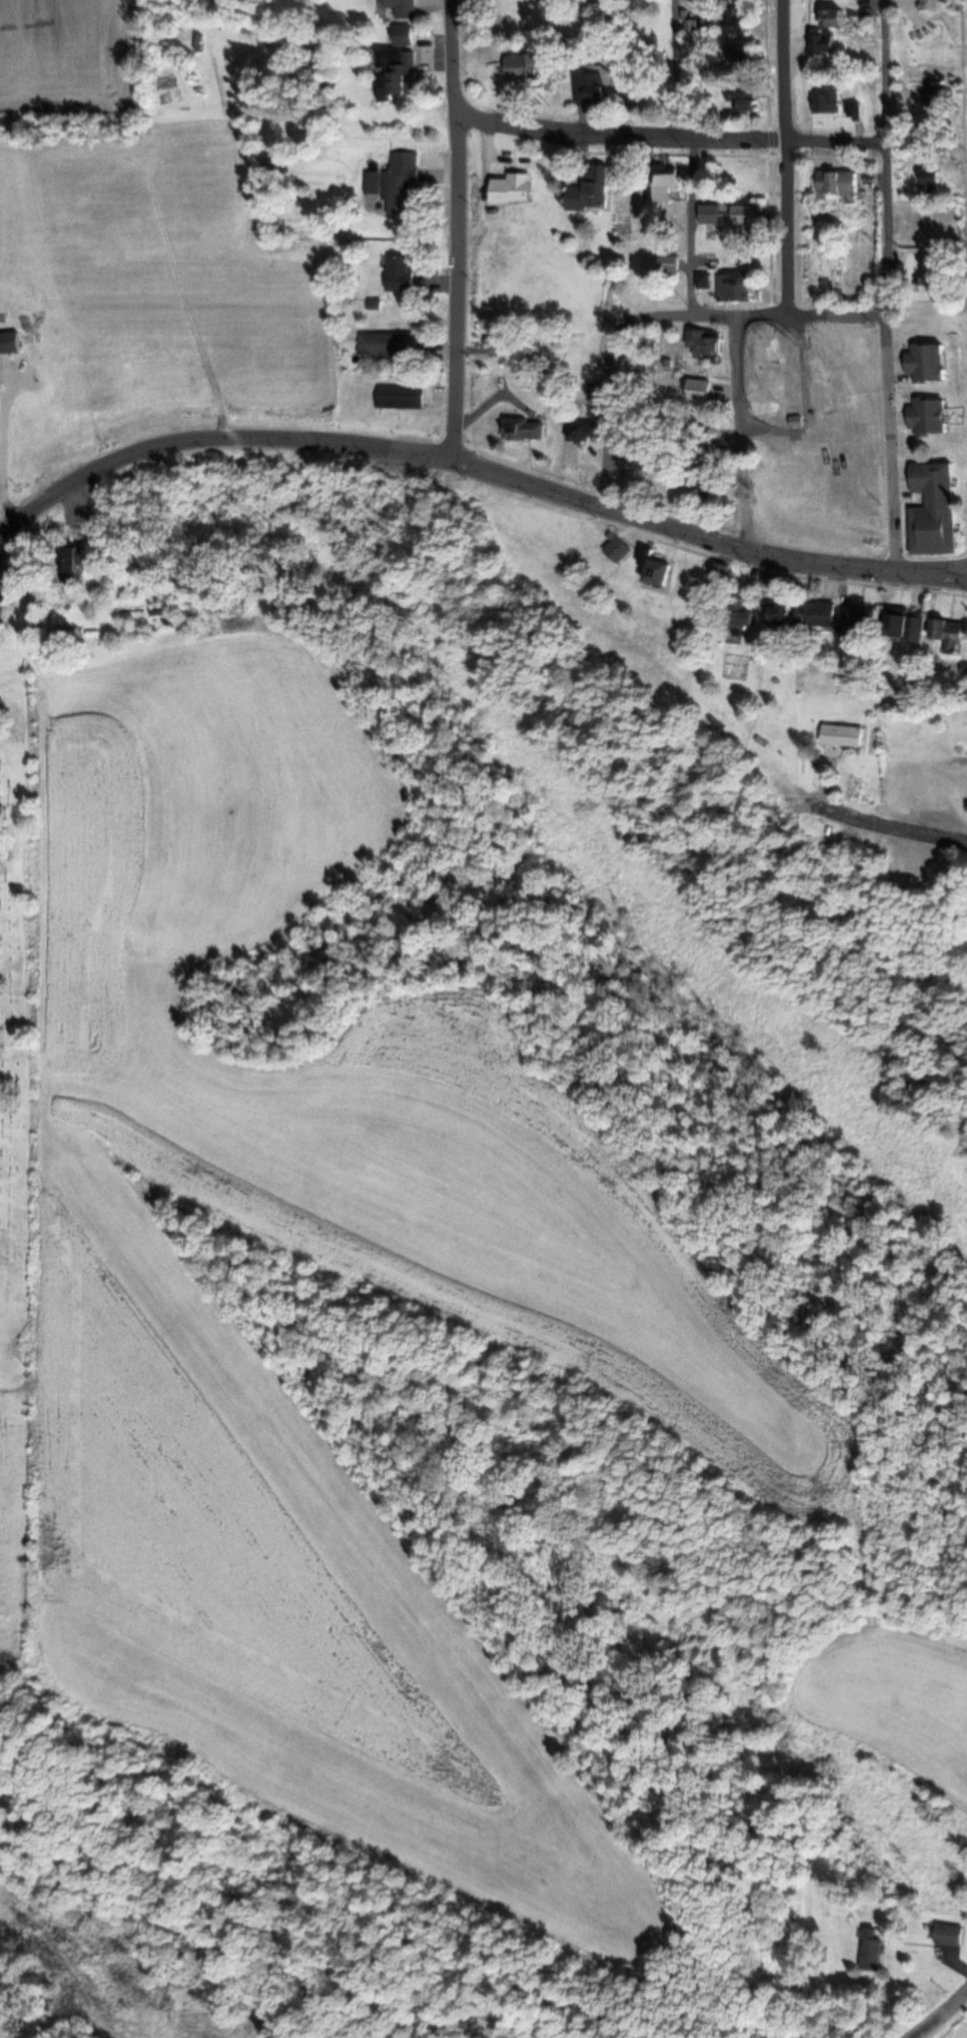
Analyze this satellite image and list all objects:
building: (403, 7)
building: (832, 20)
building: (736, 22)
building: (930, 37)
building: (825, 44)
building: (740, 56)
building: (521, 68)
road: (678, 70)
building: (395, 74)
building: (589, 89)
building: (742, 97)
building: (828, 103)
road: (671, 139)
road: (787, 158)
building: (749, 178)
building: (932, 181)
building: (838, 183)
building: (666, 184)
building: (392, 190)
building: (511, 190)
building: (590, 192)
building: (713, 215)
building: (749, 216)
building: (934, 218)
road: (695, 227)
road: (459, 228)
building: (670, 265)
building: (399, 275)
building: (933, 278)
building: (709, 282)
road: (888, 285)
building: (737, 289)
road: (804, 316)
building: (705, 344)
building: (387, 346)
building: (499, 346)
building: (927, 365)
building: (697, 391)
building: (400, 398)
building: (930, 418)
building: (523, 431)
road: (739, 432)
building: (584, 433)
road: (8, 435)
building: (632, 462)
road: (477, 463)
building: (700, 484)
road: (9, 508)
building: (933, 510)
building: (617, 550)
building: (72, 563)
building: (654, 568)
building: (718, 574)
building: (814, 612)
building: (737, 615)
building: (778, 615)
building: (852, 624)
building: (905, 626)
building: (950, 633)
building: (840, 735)
road: (887, 827)
building: (949, 1934)
building: (871, 1950)
road: (955, 2005)
road: (928, 2027)

